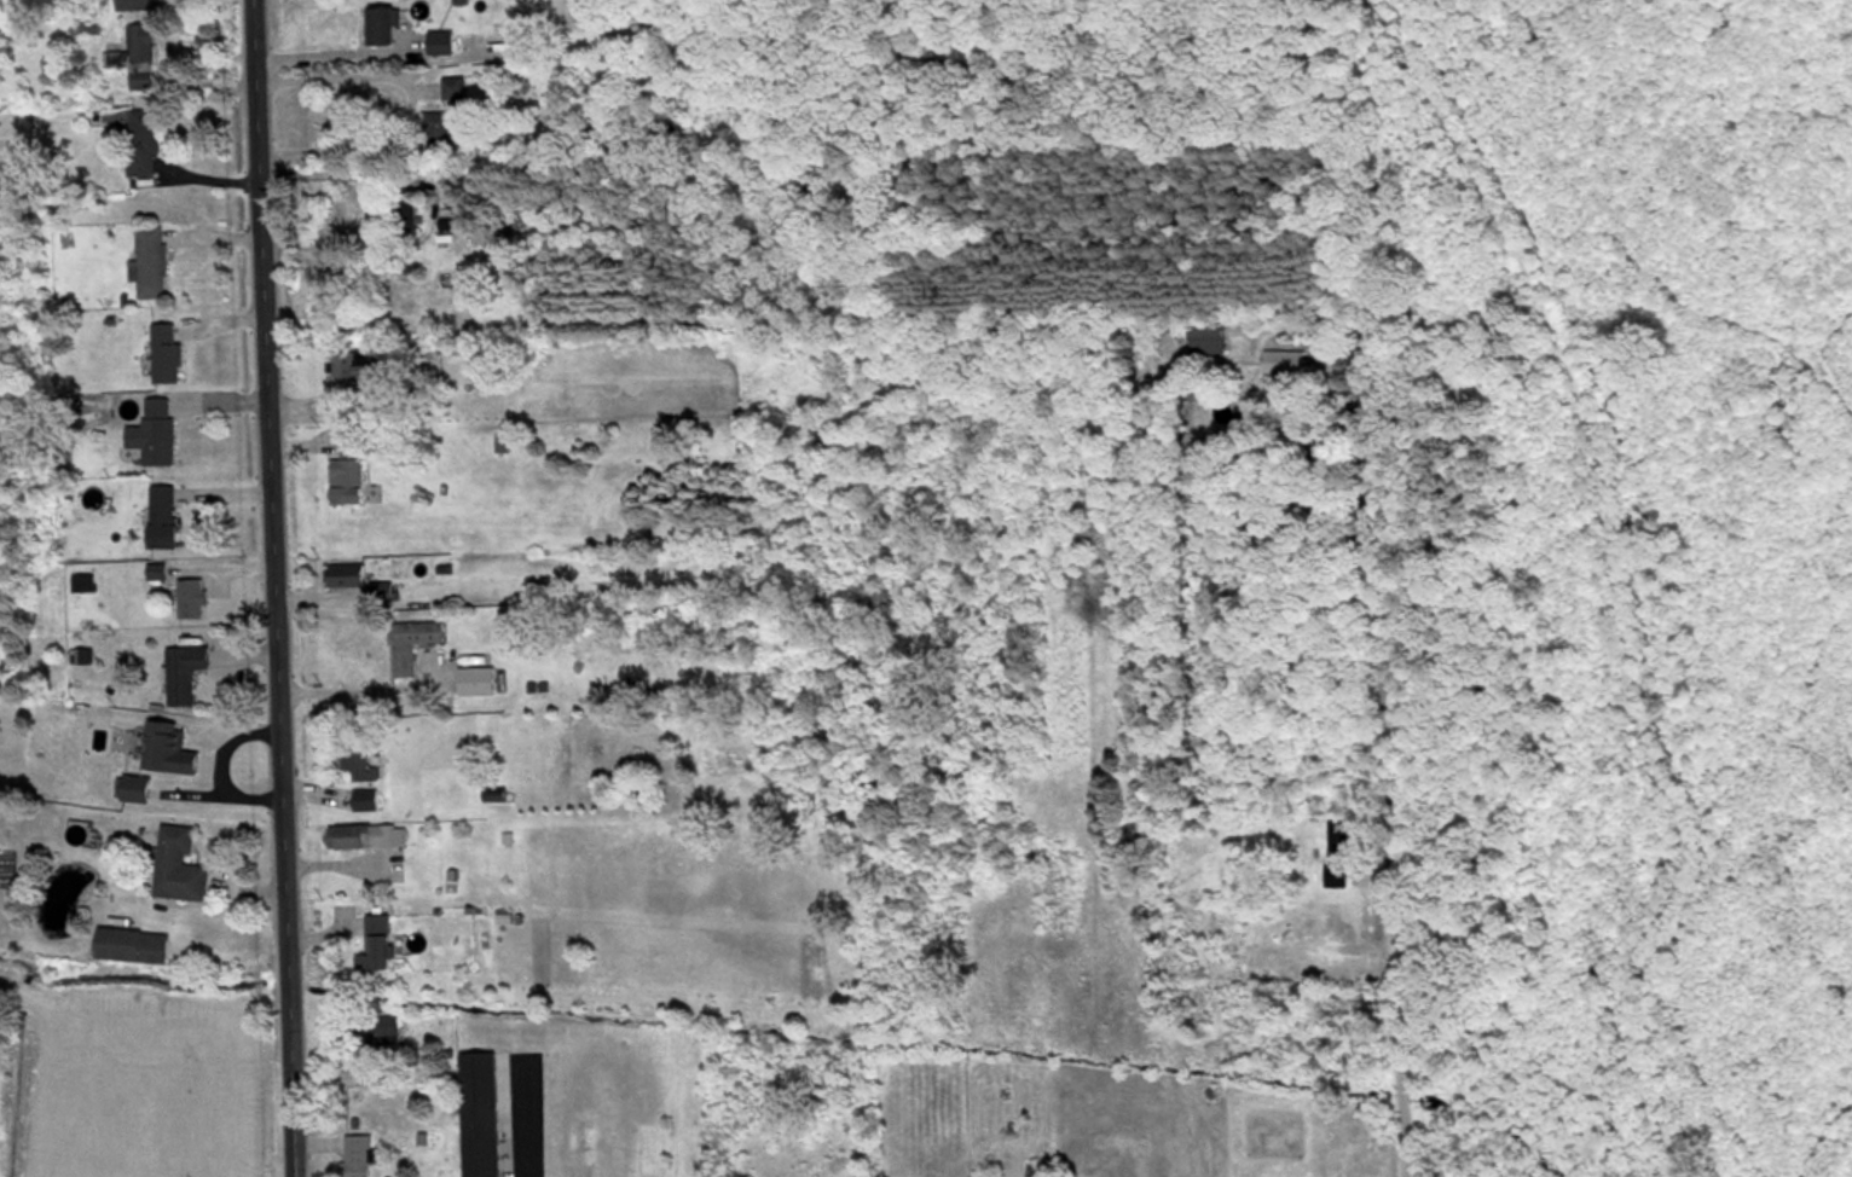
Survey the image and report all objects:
building: (133, 4)
building: (382, 23)
building: (439, 40)
building: (133, 53)
building: (442, 127)
building: (141, 139)
building: (397, 211)
building: (149, 260)
building: (1206, 332)
building: (164, 349)
building: (1283, 359)
building: (355, 363)
building: (154, 429)
building: (347, 468)
building: (161, 514)
building: (156, 569)
building: (343, 572)
building: (81, 581)
road: (267, 588)
building: (191, 596)
building: (411, 640)
building: (184, 671)
building: (475, 678)
road: (357, 700)
building: (167, 746)
building: (359, 759)
road: (1385, 772)
building: (133, 787)
building: (364, 798)
building: (366, 834)
building: (1337, 853)
building: (178, 864)
building: (1319, 927)
building: (375, 944)
building: (131, 945)
building: (374, 1028)
building: (484, 1112)
road: (521, 1123)
building: (357, 1154)

